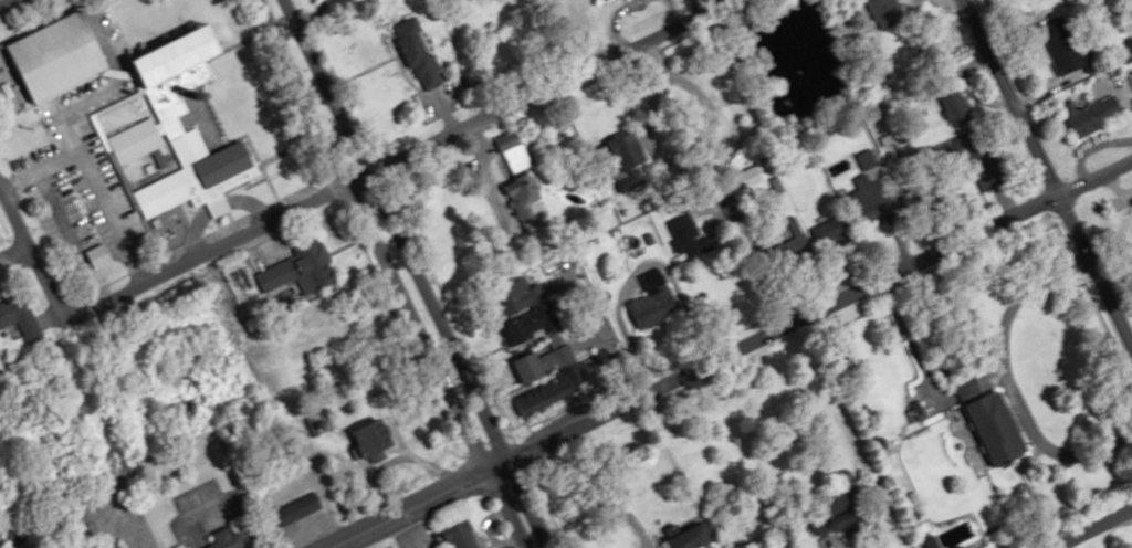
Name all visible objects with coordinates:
parking lot: (106, 29)
building: (1071, 52)
building: (417, 53)
building: (61, 55)
road: (114, 86)
road: (536, 87)
road: (1004, 97)
building: (957, 108)
building: (1093, 115)
building: (179, 123)
building: (516, 156)
building: (868, 159)
road: (90, 175)
parking lot: (75, 176)
parking lot: (292, 197)
building: (871, 198)
road: (217, 208)
road: (56, 215)
road: (11, 219)
parking lot: (227, 228)
building: (690, 235)
road: (11, 250)
road: (178, 259)
building: (301, 267)
road: (402, 273)
road: (1092, 274)
building: (526, 297)
building: (653, 302)
road: (810, 307)
building: (20, 319)
building: (543, 322)
building: (532, 369)
building: (1000, 430)
road: (839, 434)
building: (378, 440)
road: (415, 508)
building: (298, 509)
road: (1090, 526)
building: (464, 535)
building: (698, 536)
road: (349, 545)

